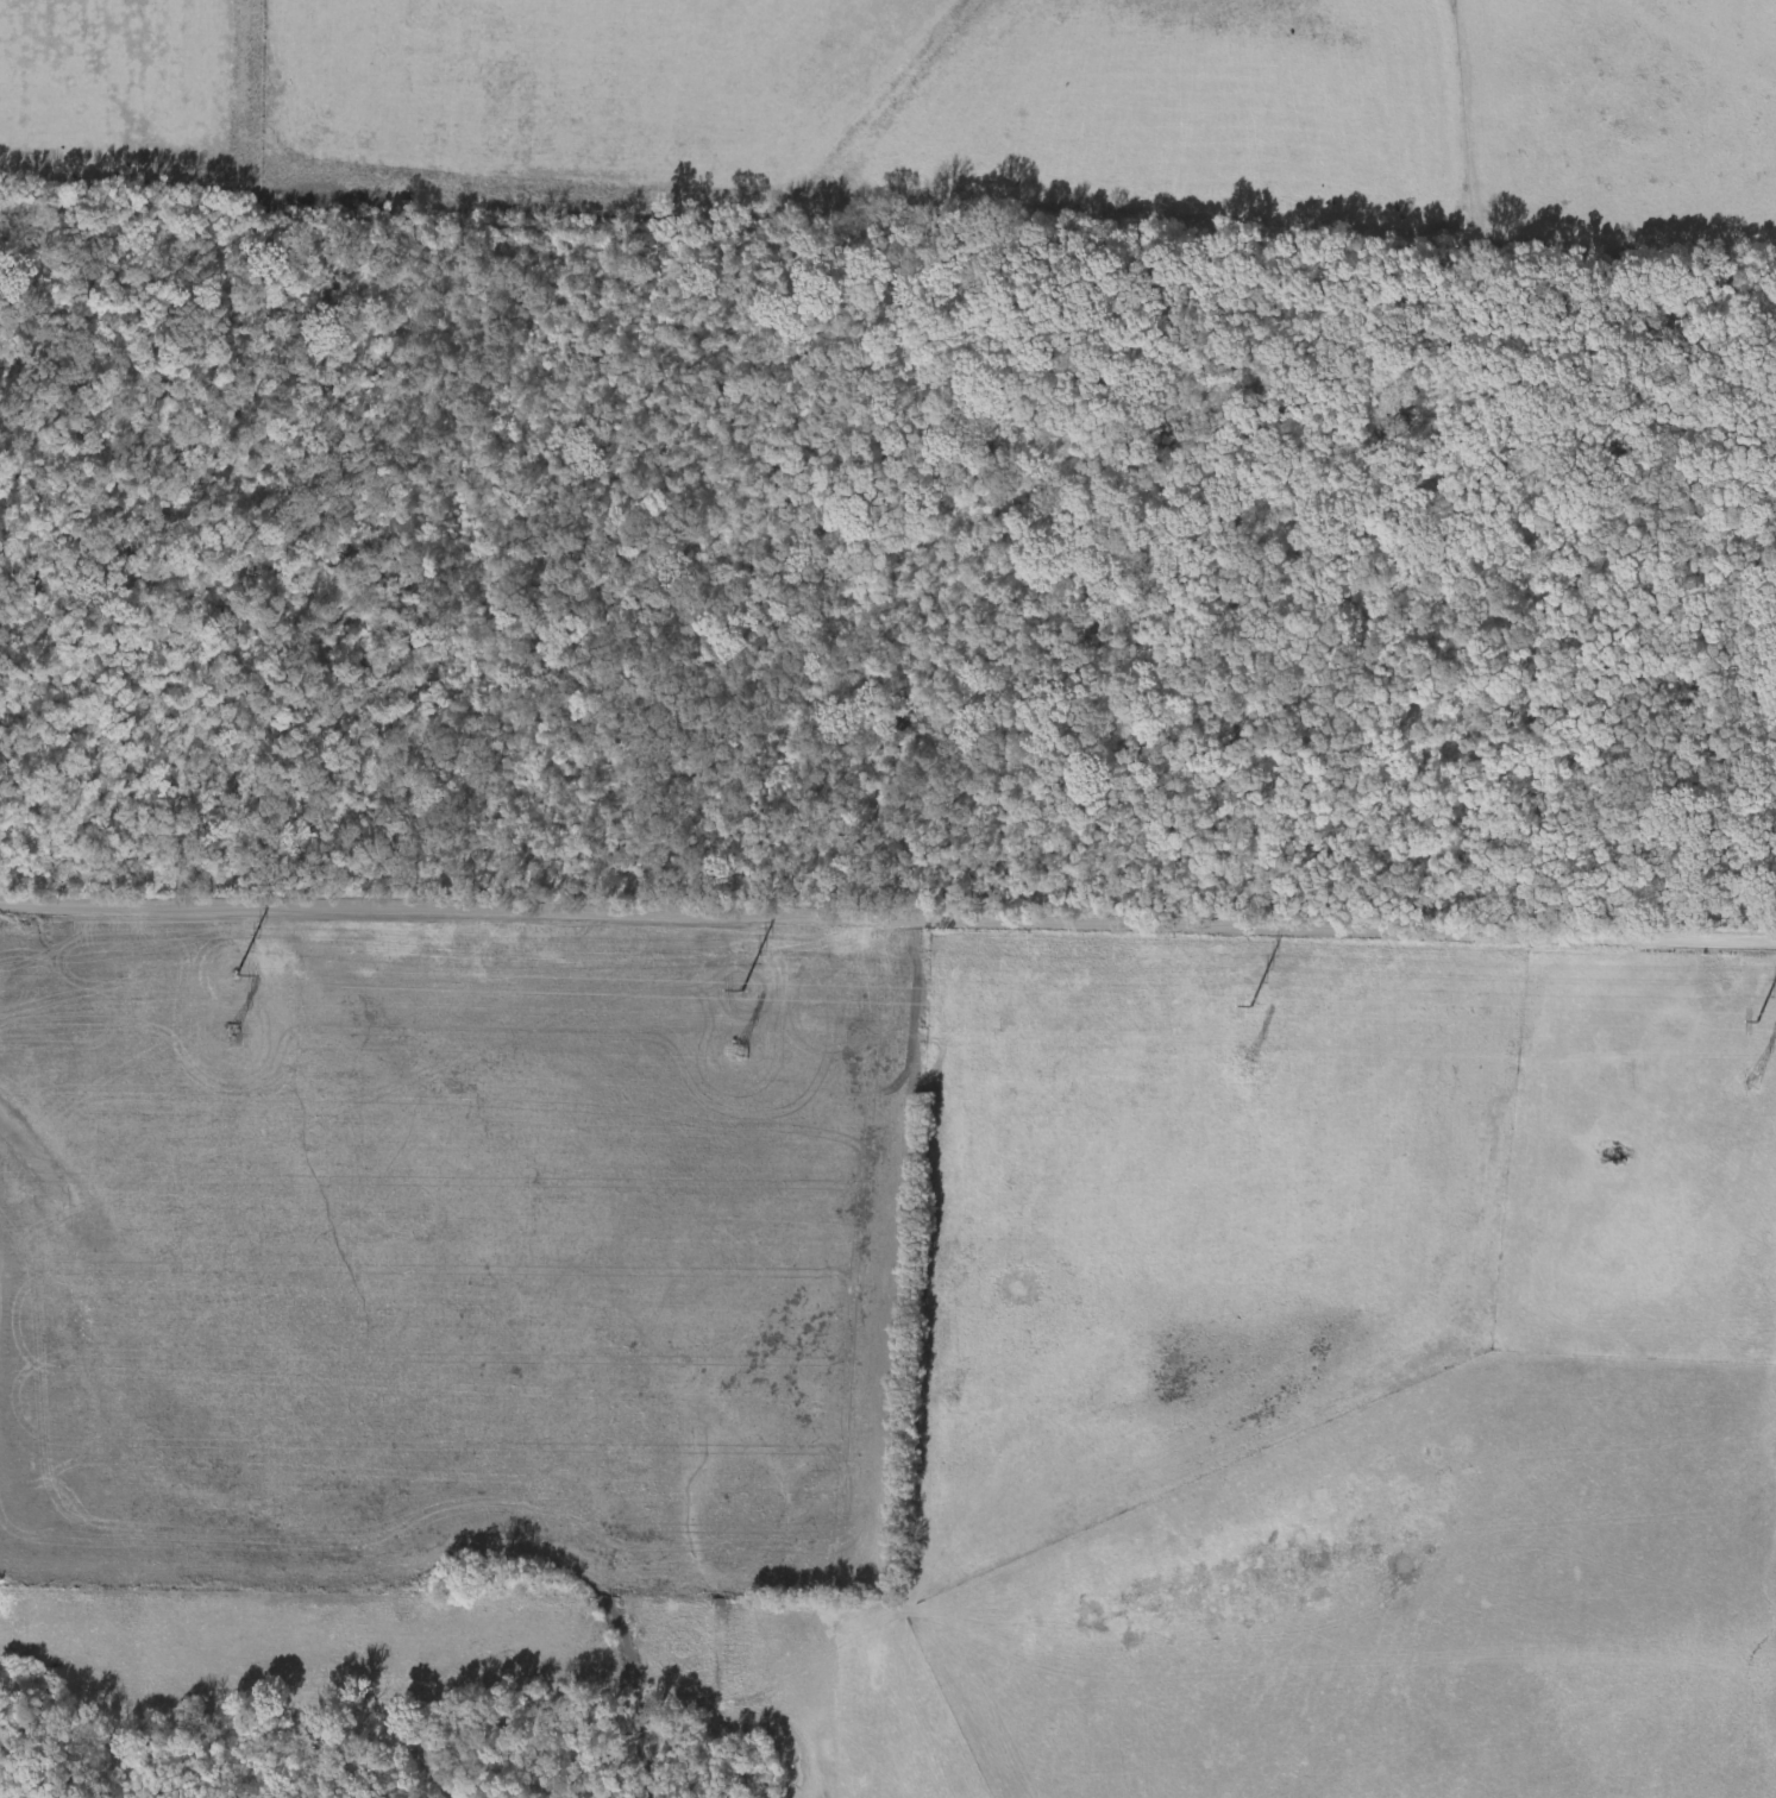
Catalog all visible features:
road: (887, 924)
power tower: (238, 976)
power tower: (740, 992)
power tower: (1249, 1008)
power tower: (1756, 1025)
road: (1682, 1195)

